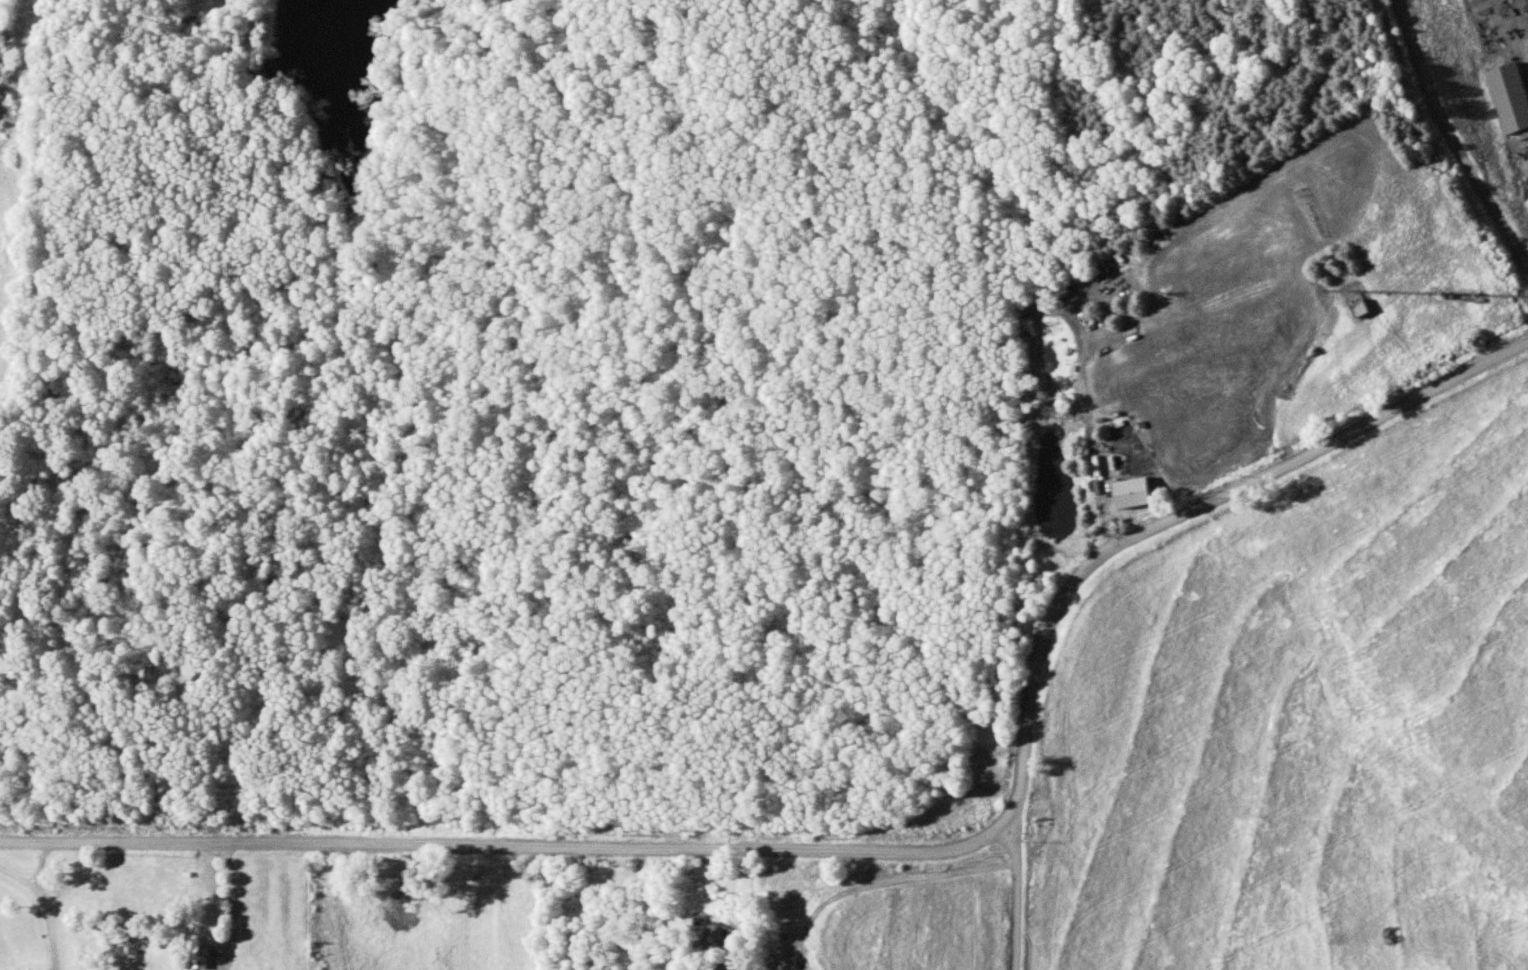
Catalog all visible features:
road: (1450, 143)
road: (237, 514)
road: (1178, 520)
road: (499, 837)
road: (40, 858)
road: (44, 894)
road: (236, 903)
road: (1001, 904)

